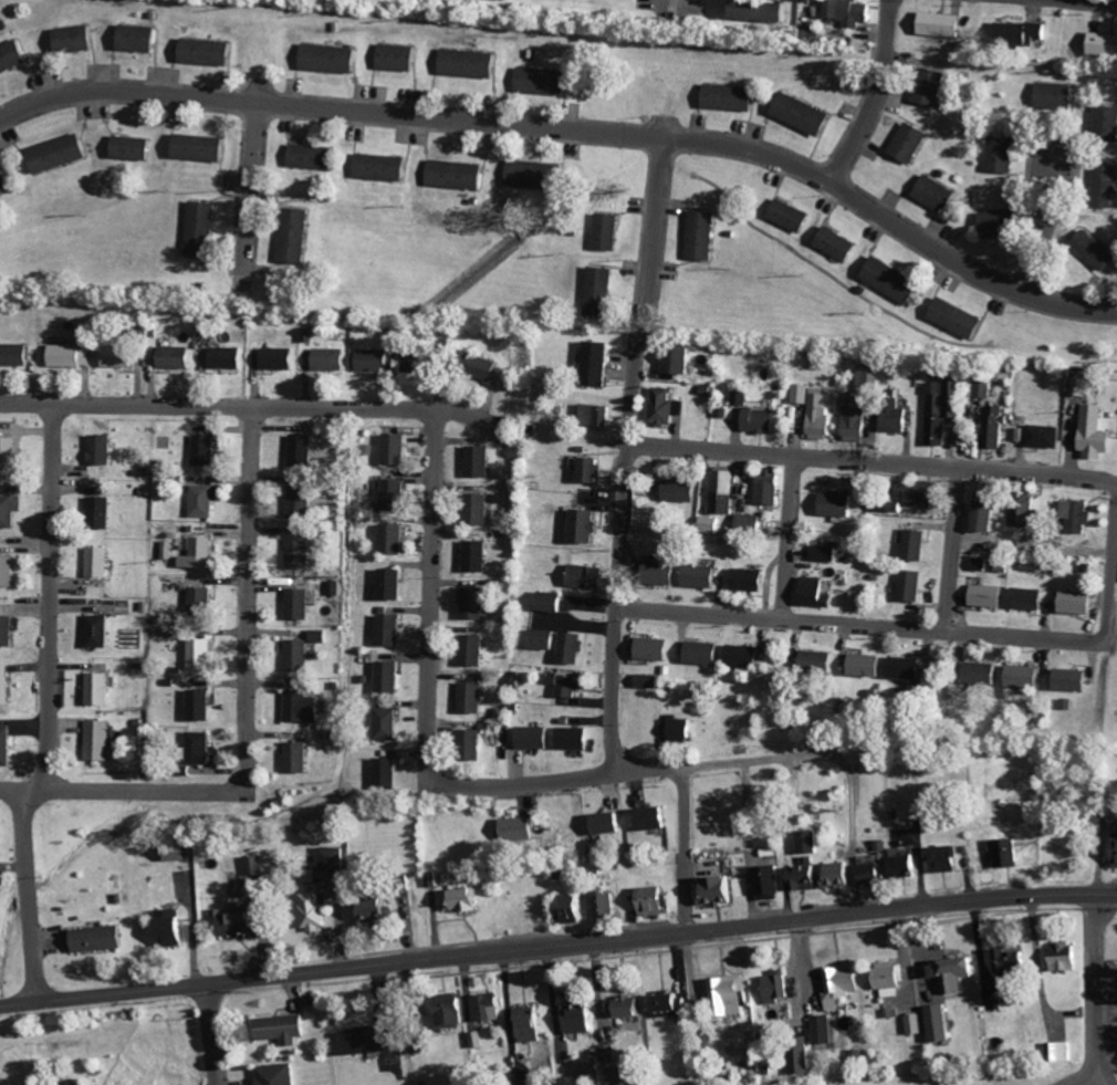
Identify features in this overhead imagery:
building: (762, 10)
building: (853, 12)
building: (946, 24)
building: (1023, 33)
building: (138, 39)
building: (75, 40)
building: (1105, 44)
building: (207, 52)
building: (11, 56)
building: (399, 58)
building: (332, 59)
building: (470, 63)
building: (543, 81)
building: (932, 86)
road: (878, 96)
building: (1057, 96)
building: (731, 97)
building: (805, 114)
building: (1106, 123)
road: (574, 128)
building: (911, 143)
building: (200, 147)
building: (133, 148)
building: (60, 154)
building: (1003, 155)
building: (315, 157)
building: (384, 167)
building: (458, 175)
building: (537, 175)
building: (4, 182)
road: (252, 182)
building: (1106, 186)
building: (938, 195)
building: (792, 216)
road: (1048, 219)
building: (1001, 223)
building: (203, 229)
building: (608, 232)
building: (297, 236)
building: (703, 236)
building: (838, 244)
building: (1096, 251)
building: (894, 280)
building: (603, 292)
building: (959, 319)
building: (14, 355)
building: (71, 356)
building: (118, 357)
building: (176, 357)
building: (228, 358)
building: (280, 358)
building: (332, 359)
building: (679, 359)
building: (376, 361)
building: (418, 362)
building: (598, 364)
building: (482, 367)
building: (1082, 387)
building: (805, 394)
building: (742, 397)
road: (246, 406)
building: (667, 407)
building: (944, 408)
building: (823, 411)
building: (598, 415)
building: (762, 420)
building: (897, 420)
building: (995, 427)
building: (1097, 434)
building: (1046, 437)
road: (629, 447)
building: (102, 450)
building: (206, 450)
building: (397, 450)
building: (304, 451)
building: (8, 453)
road: (874, 457)
building: (479, 462)
building: (593, 470)
building: (770, 487)
building: (396, 488)
building: (685, 491)
building: (725, 492)
building: (205, 501)
building: (303, 503)
building: (839, 504)
building: (479, 510)
building: (10, 512)
building: (102, 513)
building: (1079, 515)
building: (986, 517)
building: (1024, 517)
building: (752, 523)
building: (712, 525)
building: (586, 528)
road: (792, 534)
building: (395, 540)
building: (1026, 541)
road: (952, 545)
building: (917, 546)
building: (302, 550)
building: (205, 552)
building: (826, 553)
building: (477, 556)
building: (100, 563)
building: (982, 564)
building: (8, 572)
building: (662, 574)
building: (586, 576)
building: (703, 576)
road: (429, 580)
building: (751, 580)
road: (1111, 580)
building: (393, 585)
building: (914, 586)
building: (818, 594)
road: (49, 596)
building: (990, 596)
building: (1030, 599)
road: (248, 602)
building: (553, 602)
building: (202, 603)
building: (301, 604)
building: (474, 604)
building: (1078, 604)
road: (860, 623)
building: (392, 630)
building: (7, 632)
building: (101, 632)
building: (322, 636)
building: (544, 639)
building: (574, 648)
building: (657, 649)
building: (474, 651)
building: (707, 654)
building: (202, 655)
building: (301, 656)
building: (747, 657)
building: (822, 661)
building: (869, 666)
building: (909, 668)
building: (983, 674)
building: (1025, 677)
building: (390, 678)
building: (1074, 680)
building: (649, 681)
building: (6, 685)
building: (568, 687)
building: (101, 690)
building: (472, 698)
building: (201, 706)
building: (304, 708)
building: (389, 724)
building: (681, 729)
building: (534, 738)
building: (574, 739)
building: (100, 741)
building: (471, 745)
building: (7, 747)
building: (200, 749)
building: (299, 759)
building: (387, 773)
road: (511, 782)
road: (116, 791)
road: (686, 817)
building: (653, 820)
building: (607, 824)
building: (520, 830)
building: (811, 841)
building: (904, 851)
building: (1009, 852)
building: (1116, 852)
building: (179, 854)
building: (944, 857)
building: (334, 858)
building: (255, 865)
building: (907, 866)
building: (874, 873)
building: (841, 874)
building: (806, 877)
building: (770, 883)
building: (721, 889)
road: (28, 895)
building: (466, 899)
building: (655, 900)
building: (606, 905)
building: (572, 908)
building: (377, 910)
building: (314, 911)
building: (240, 920)
building: (170, 927)
building: (100, 938)
road: (557, 945)
building: (1066, 956)
building: (1013, 962)
building: (957, 973)
building: (891, 976)
building: (845, 982)
building: (780, 987)
building: (730, 995)
building: (674, 1005)
building: (488, 1006)
building: (630, 1006)
building: (451, 1011)
building: (581, 1018)
building: (941, 1022)
building: (531, 1024)
building: (916, 1024)
building: (283, 1029)
road: (215, 1033)
building: (374, 1040)
building: (479, 1040)
building: (1062, 1051)
building: (610, 1052)
building: (804, 1058)
building: (280, 1074)
building: (528, 1083)

